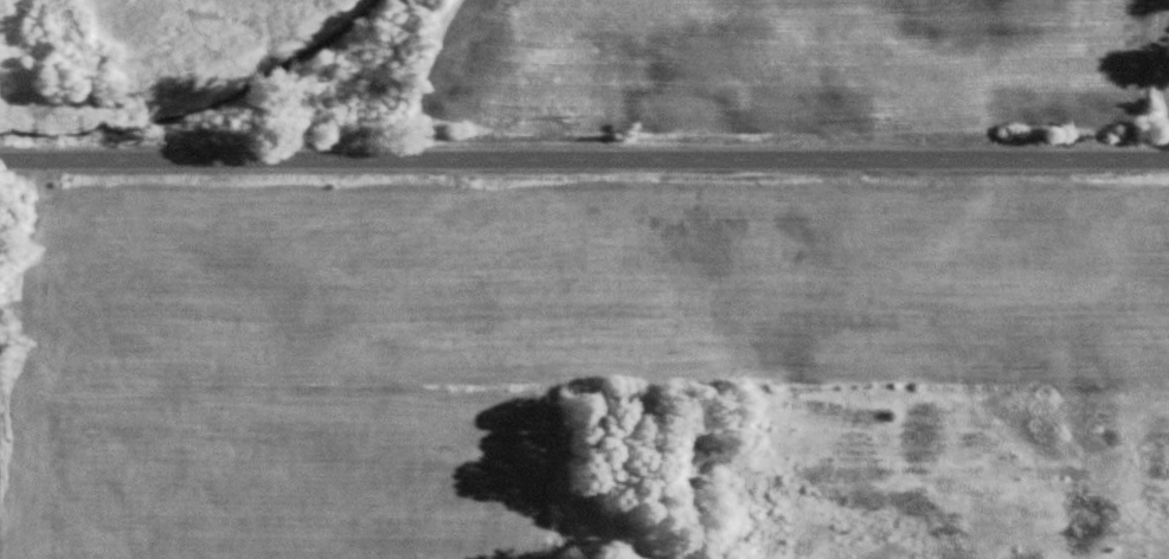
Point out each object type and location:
road: (584, 166)
building: (0, 277)

